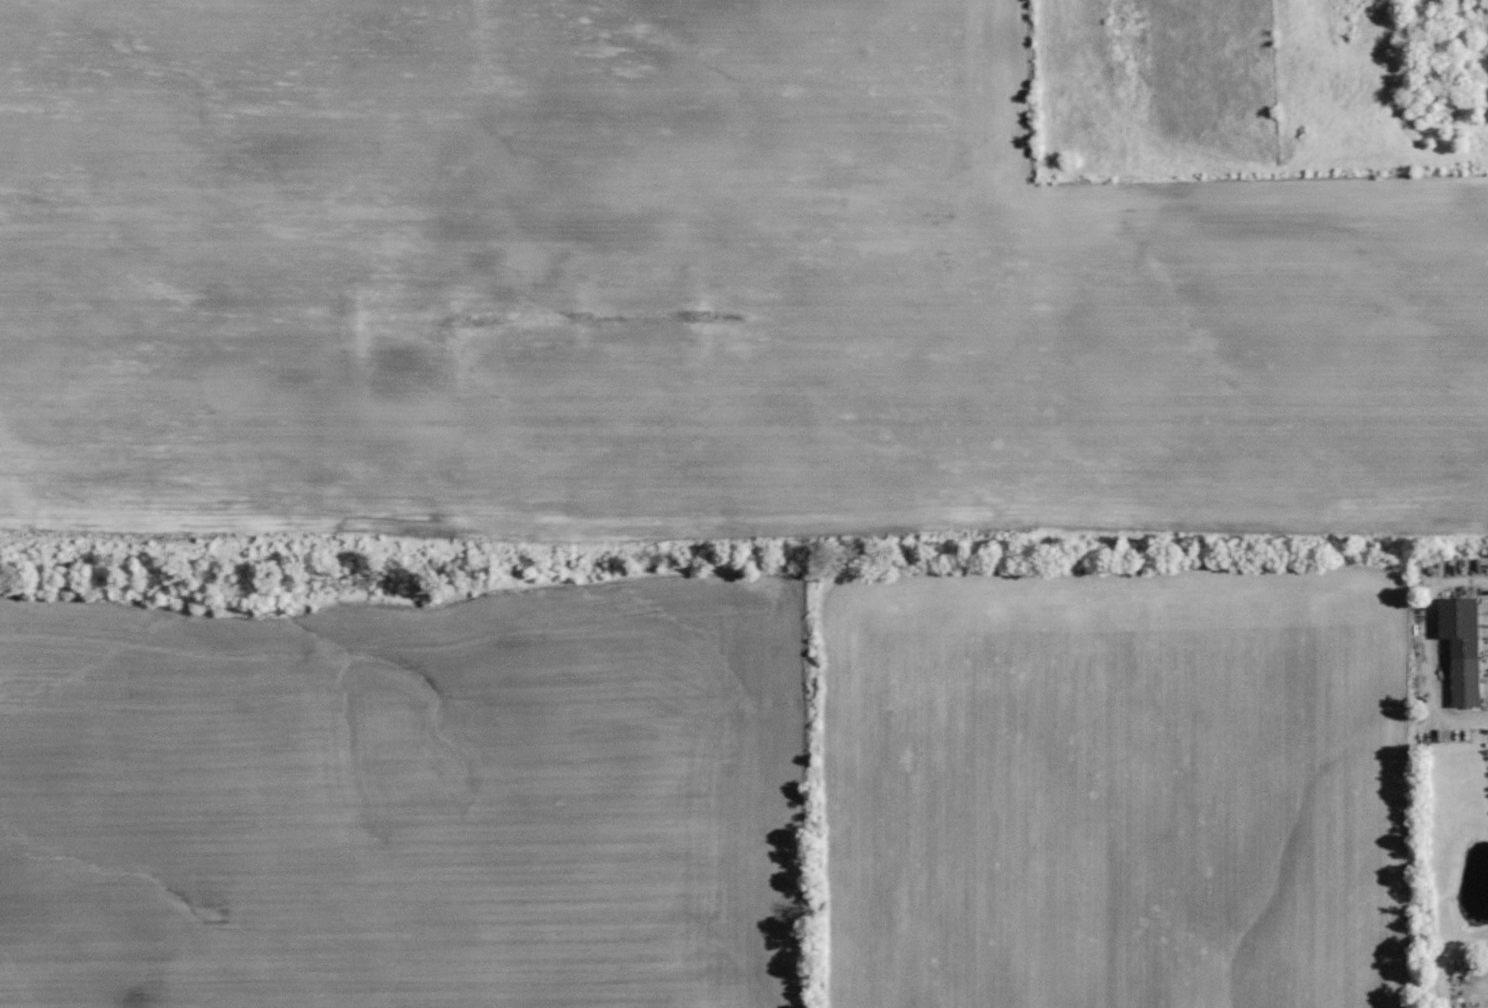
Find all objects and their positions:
road: (1435, 647)
building: (1461, 648)

